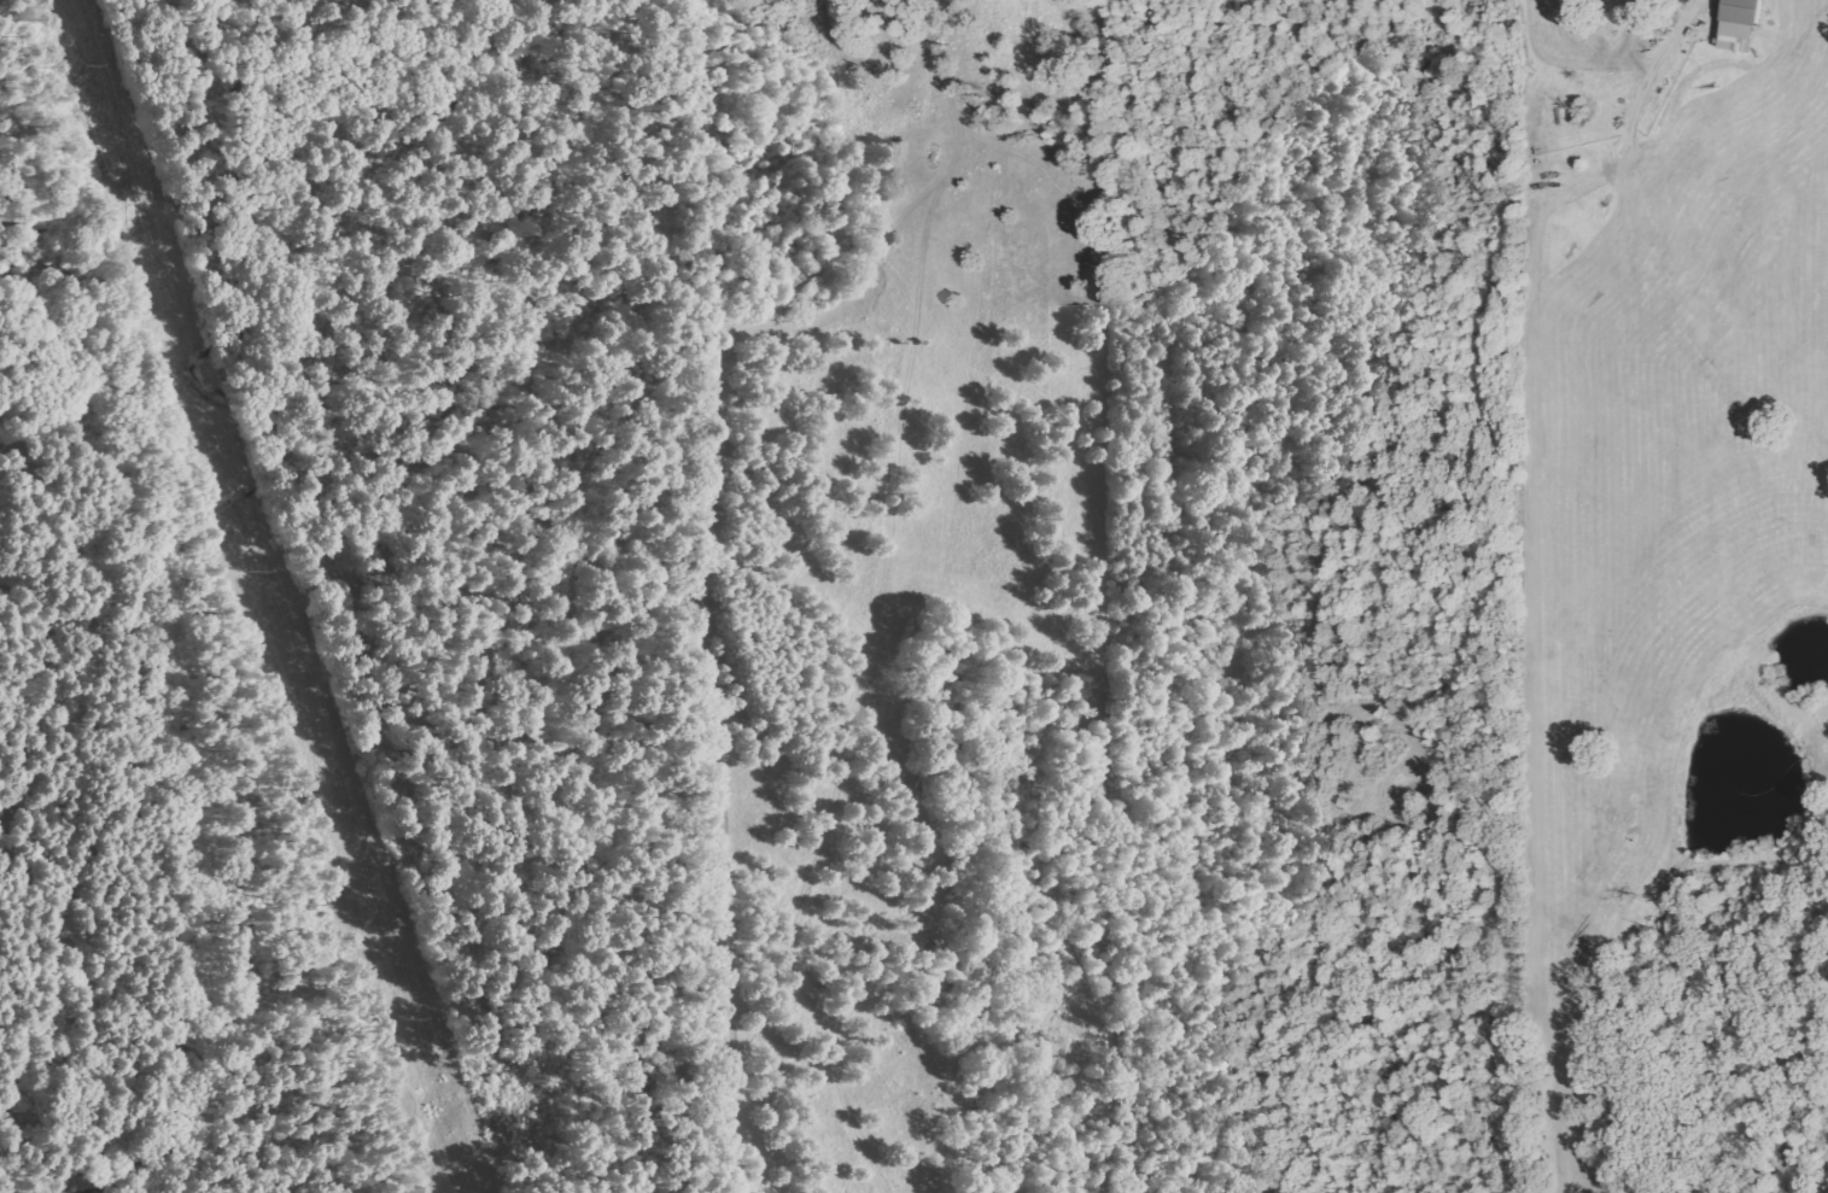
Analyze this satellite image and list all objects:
building: (1739, 25)

